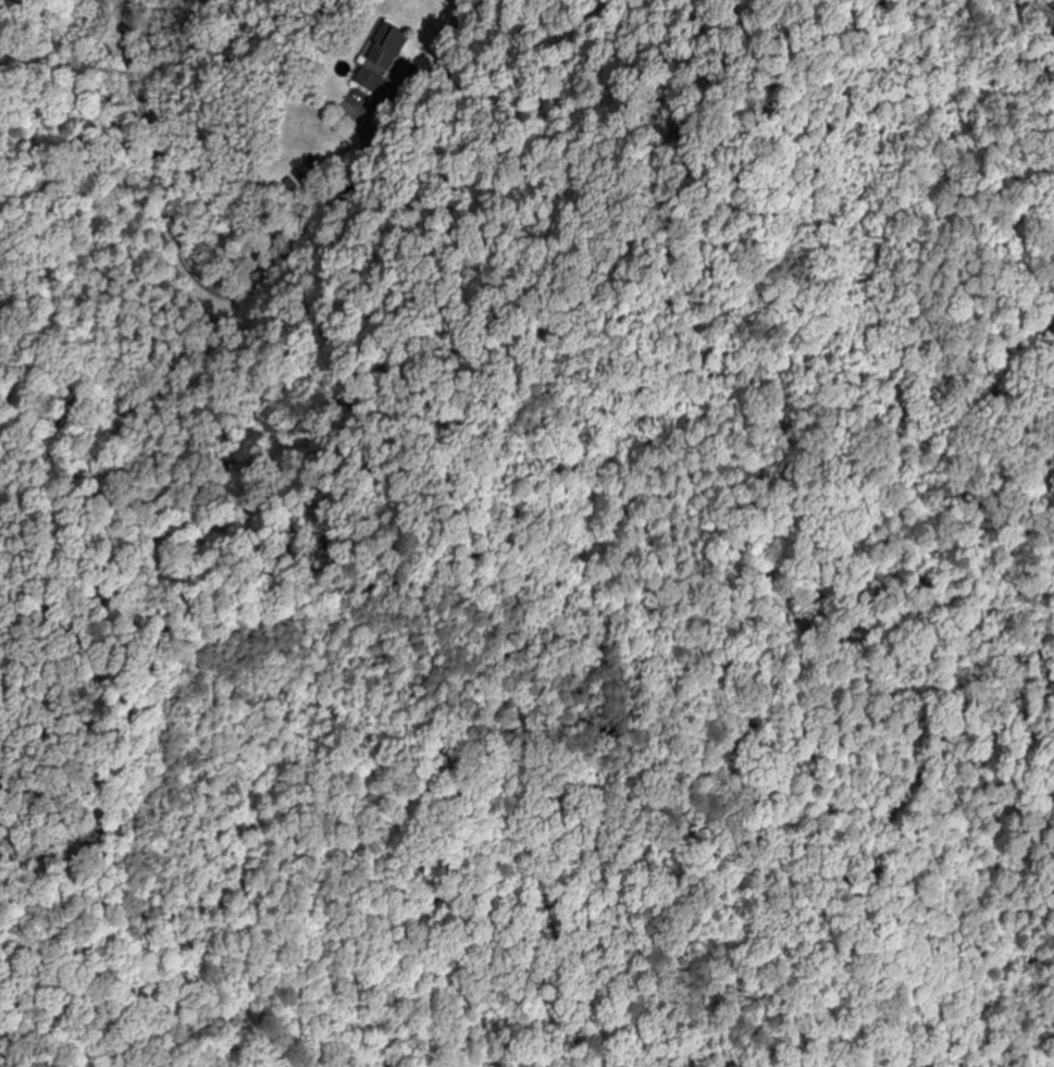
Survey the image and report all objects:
building: (389, 46)
building: (370, 78)
road: (275, 106)

